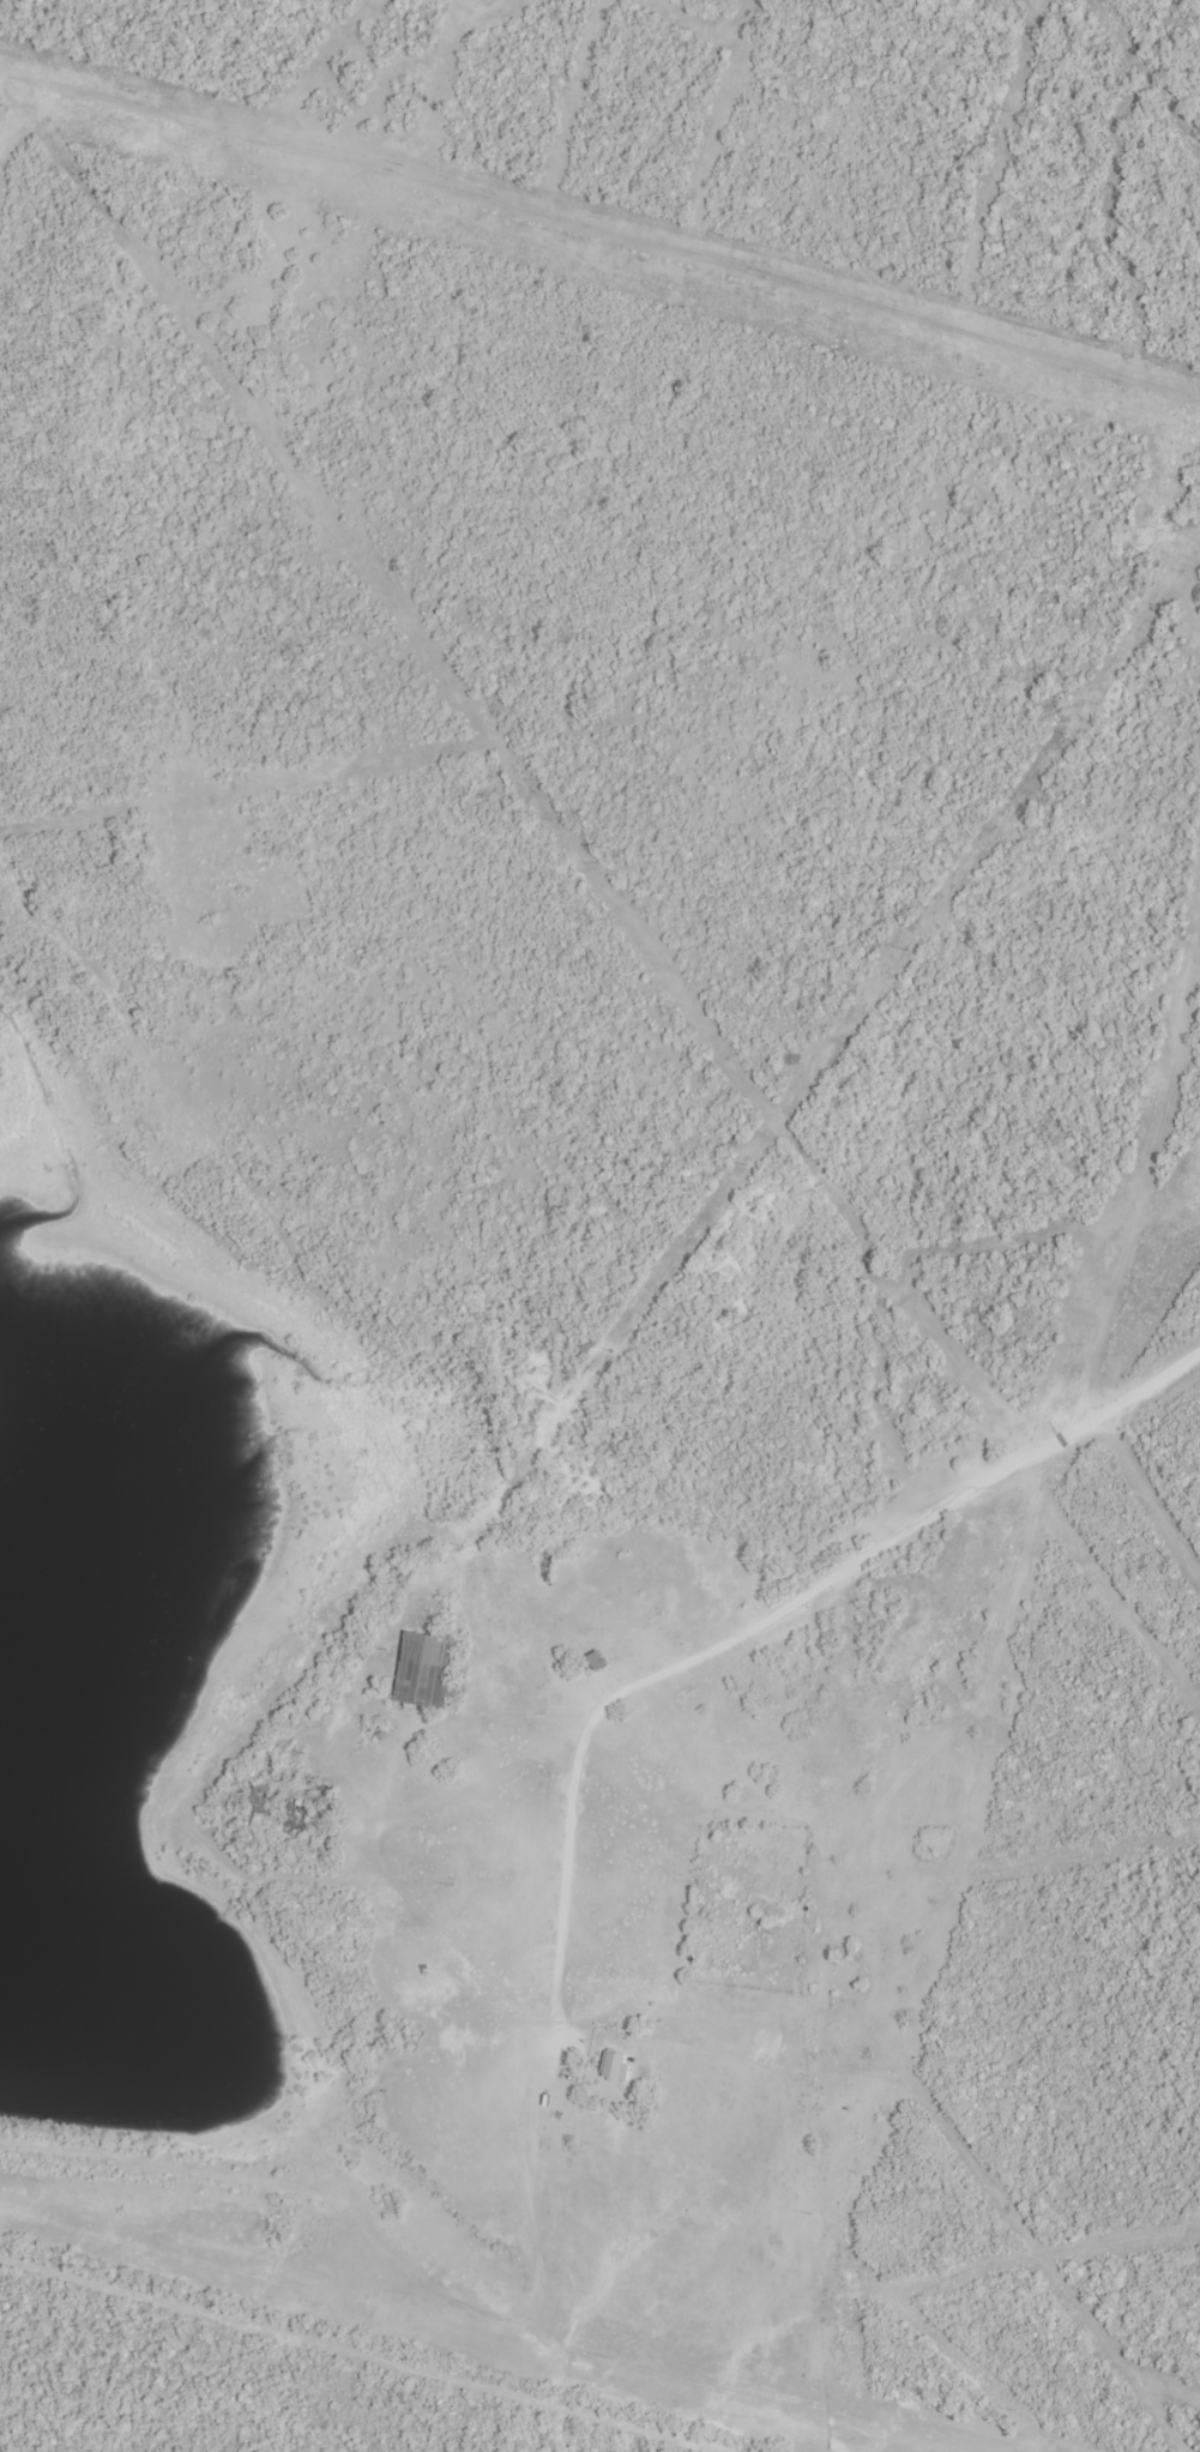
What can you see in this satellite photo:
building: (427, 1668)
road: (577, 1814)
road: (464, 1935)
building: (615, 2062)
road: (287, 2199)

